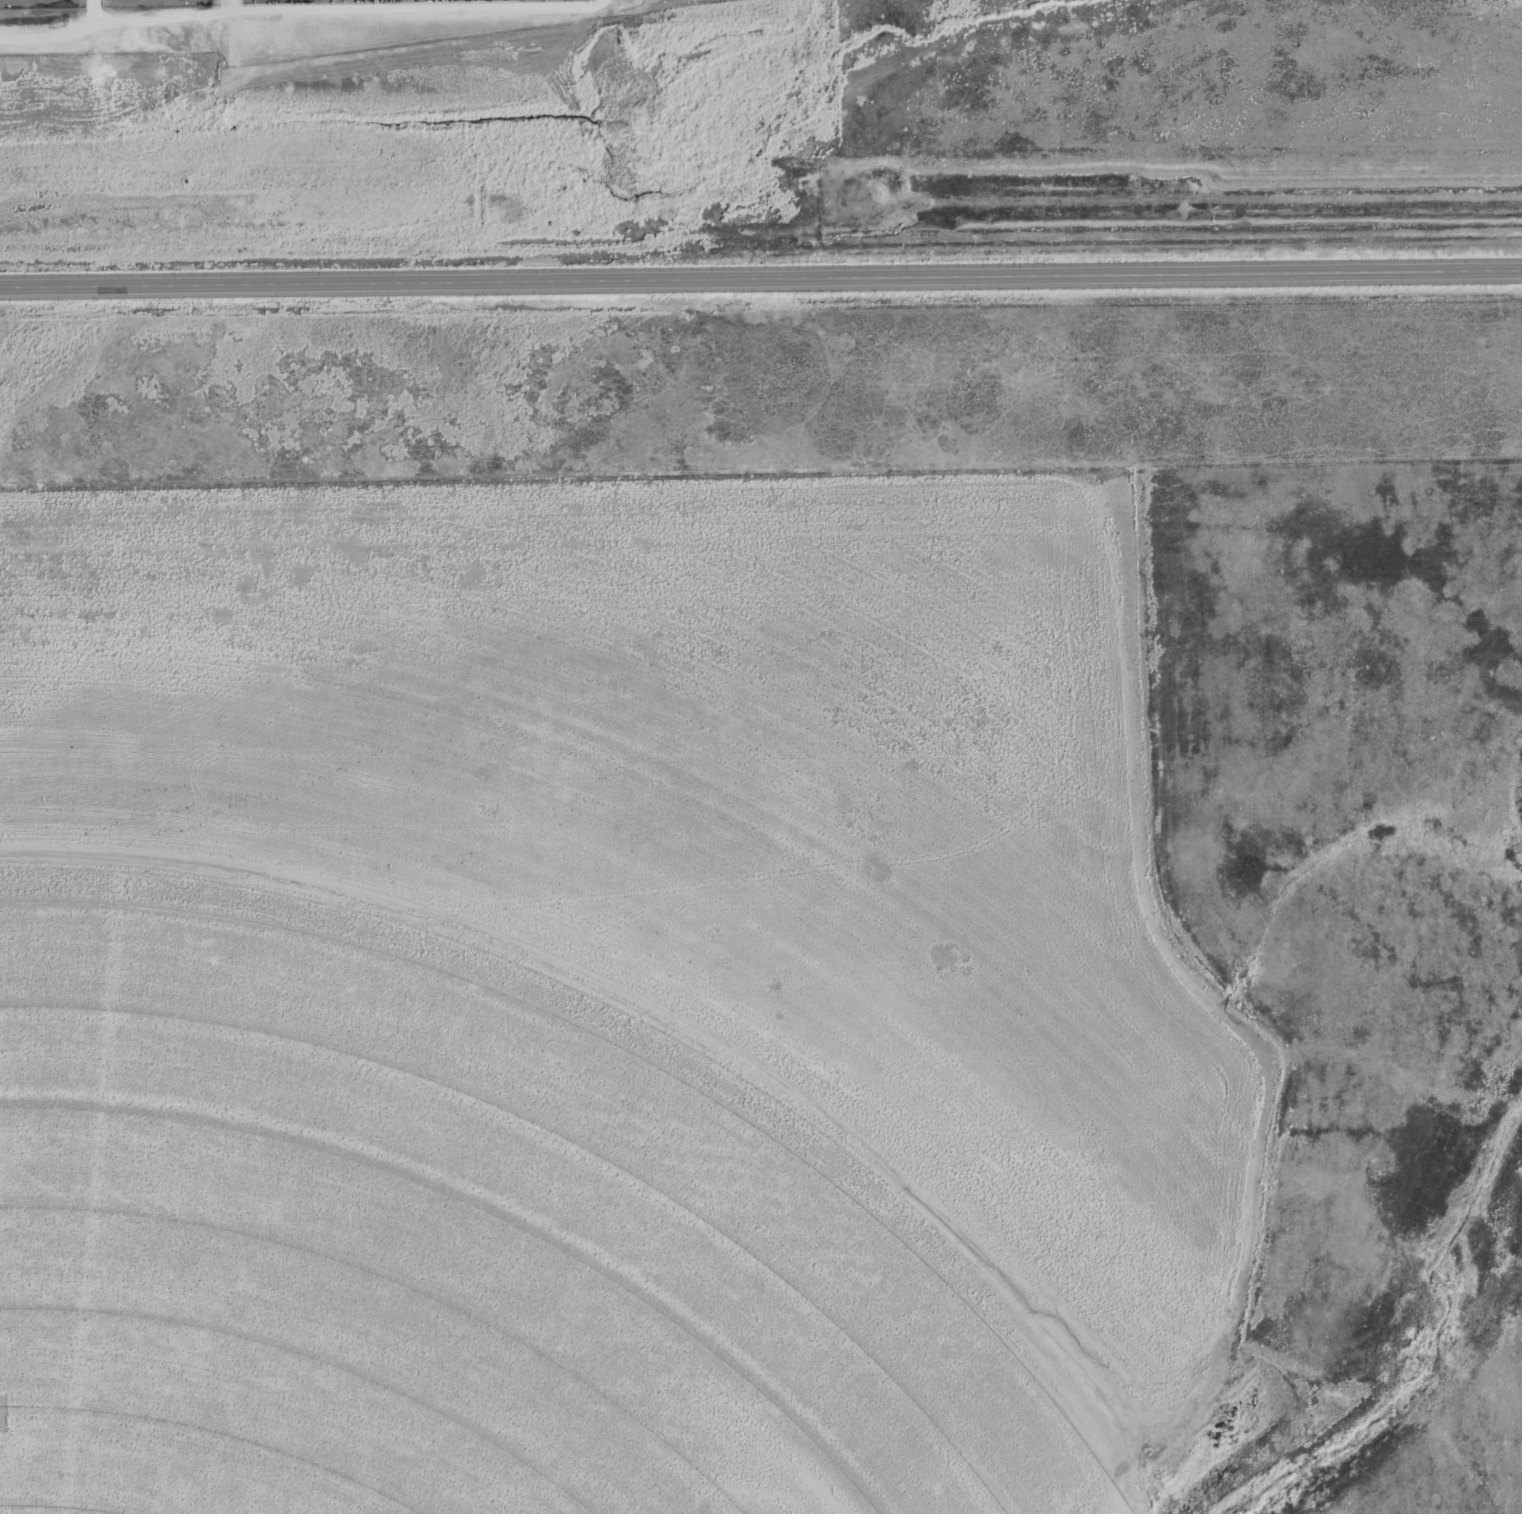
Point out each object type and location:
road: (42, 25)
crop: (431, 50)
road: (761, 281)

